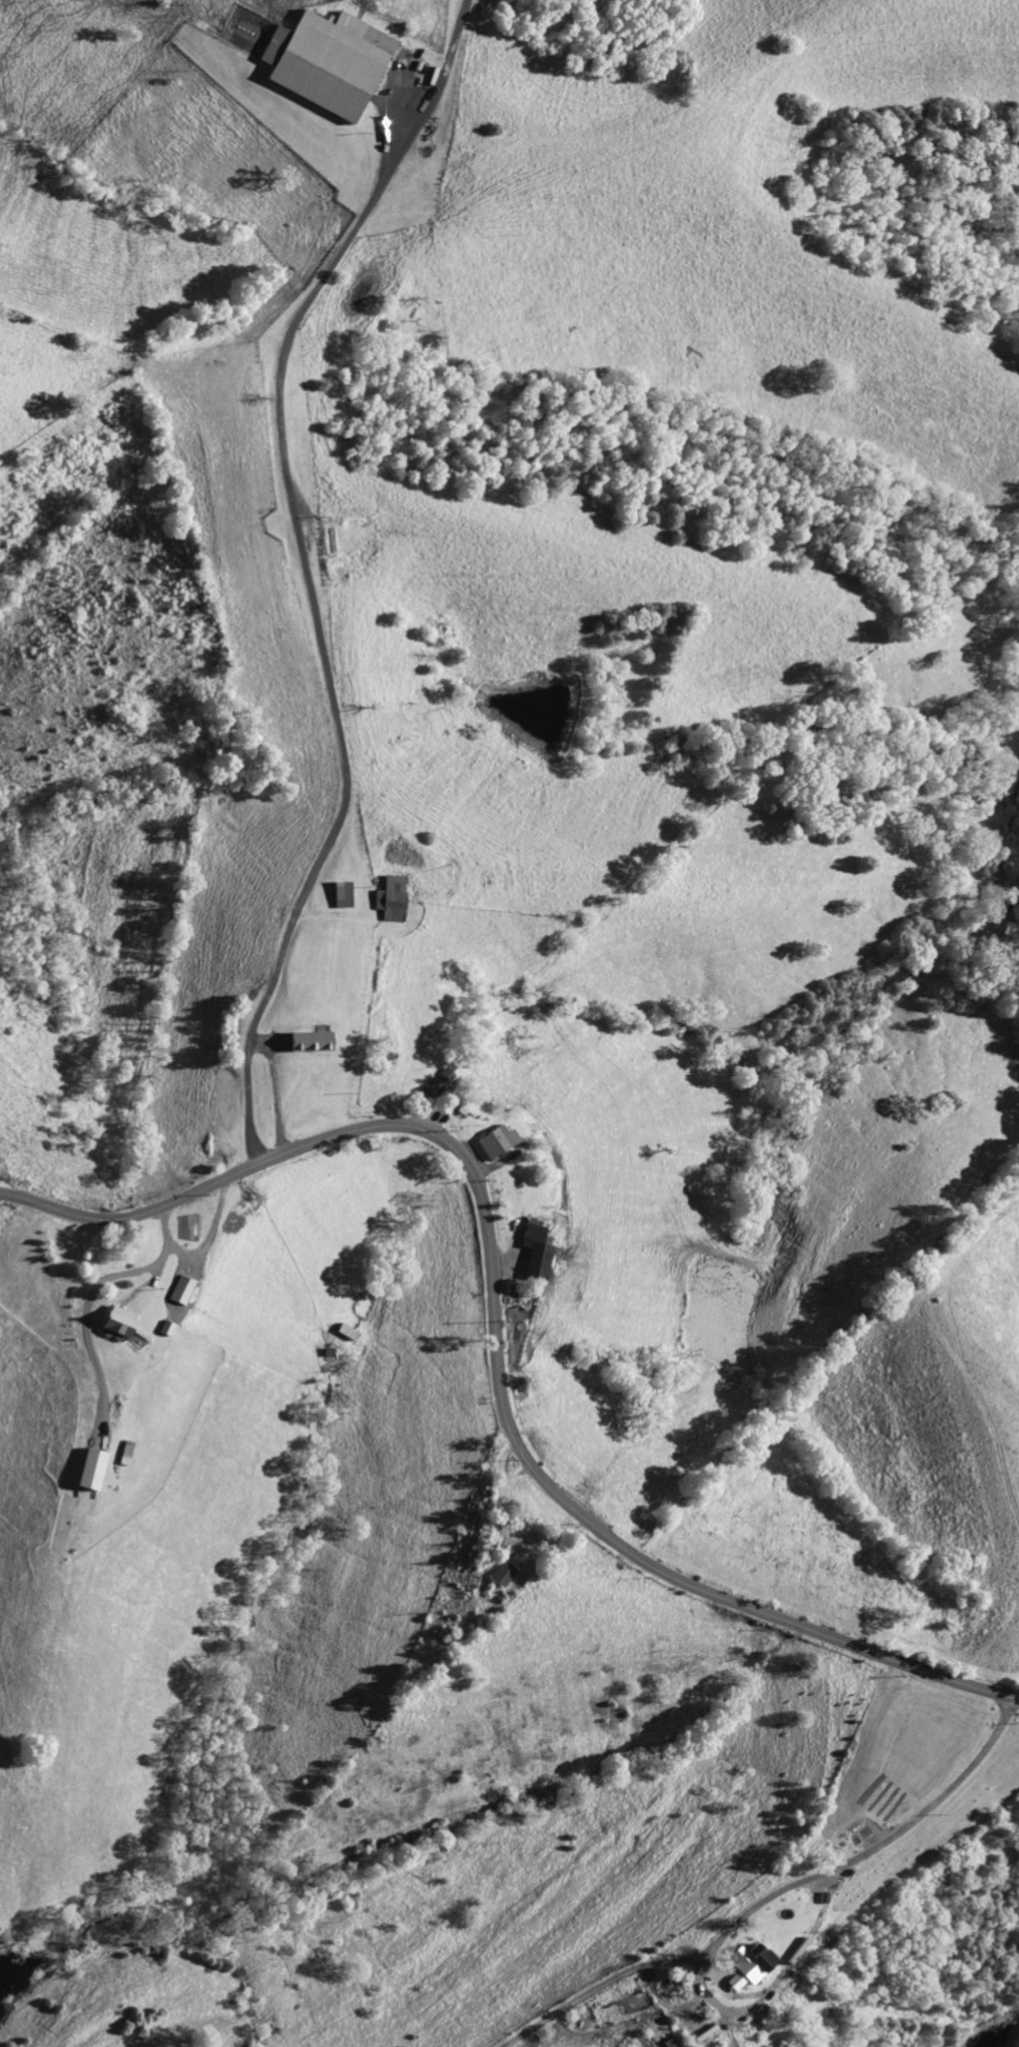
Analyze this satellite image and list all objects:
building: (332, 62)
road: (307, 569)
building: (395, 897)
building: (314, 1040)
building: (500, 1140)
building: (540, 1251)
building: (184, 1288)
road: (494, 1343)
building: (95, 1468)
building: (505, 1573)
road: (772, 1895)
building: (756, 1965)

